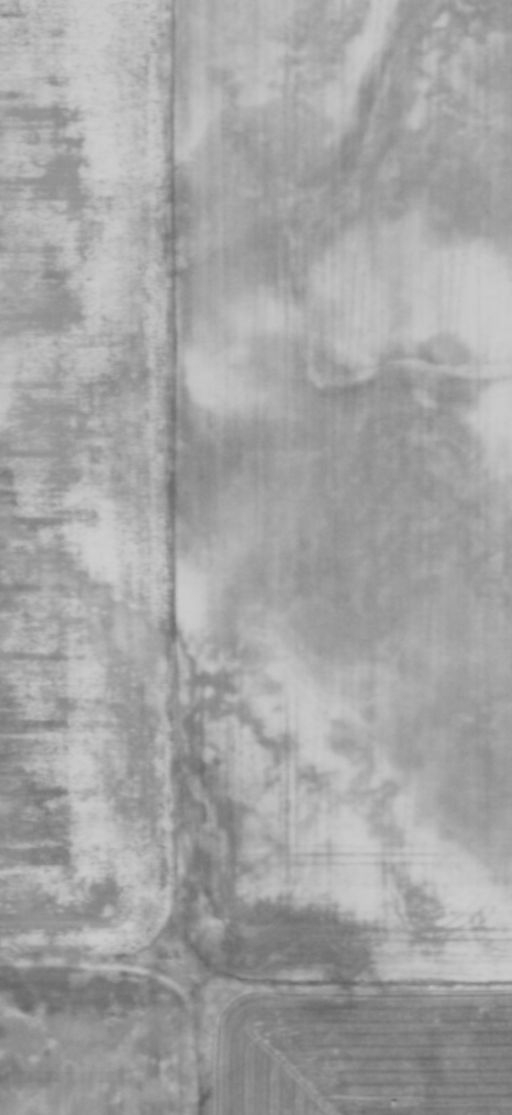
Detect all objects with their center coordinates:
road: (255, 972)

